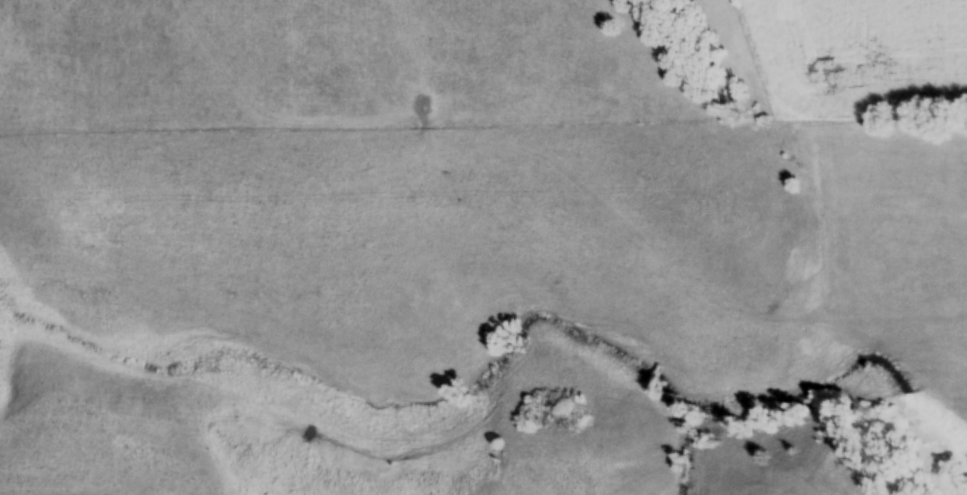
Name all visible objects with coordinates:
crop: (867, 46)

